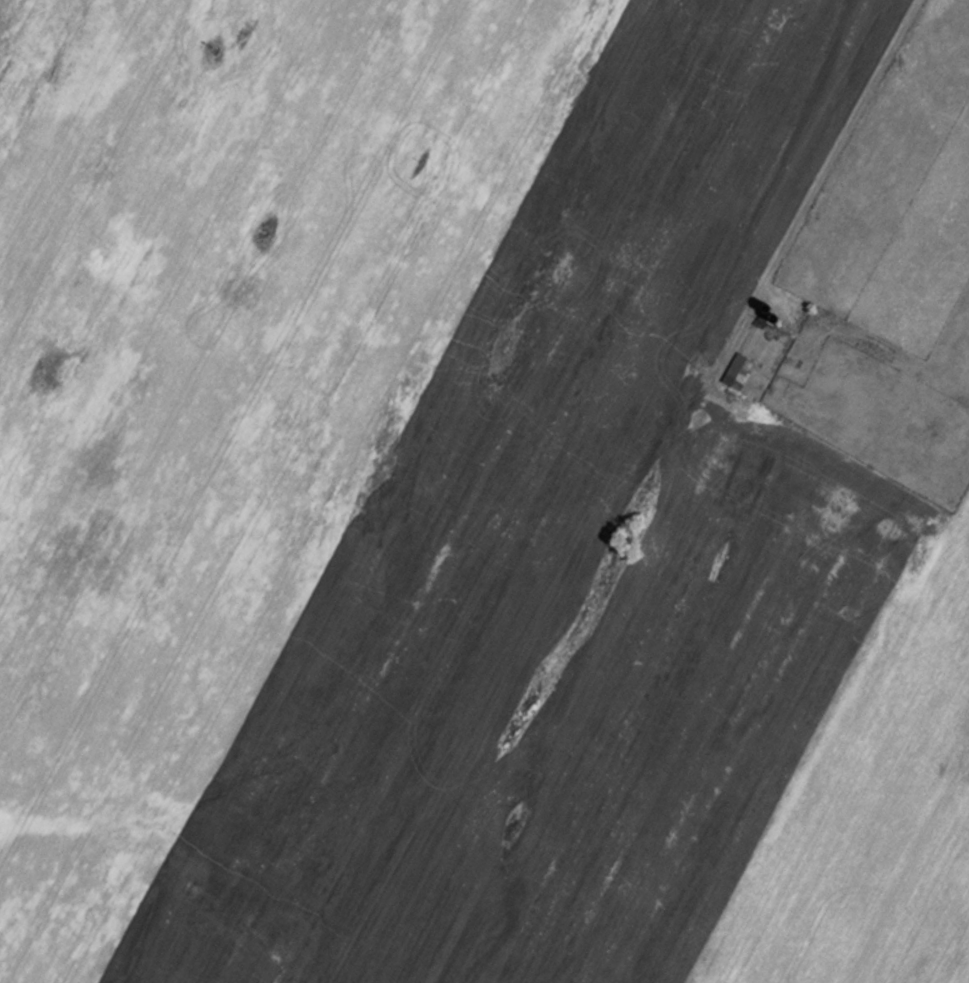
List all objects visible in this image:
road: (796, 216)

